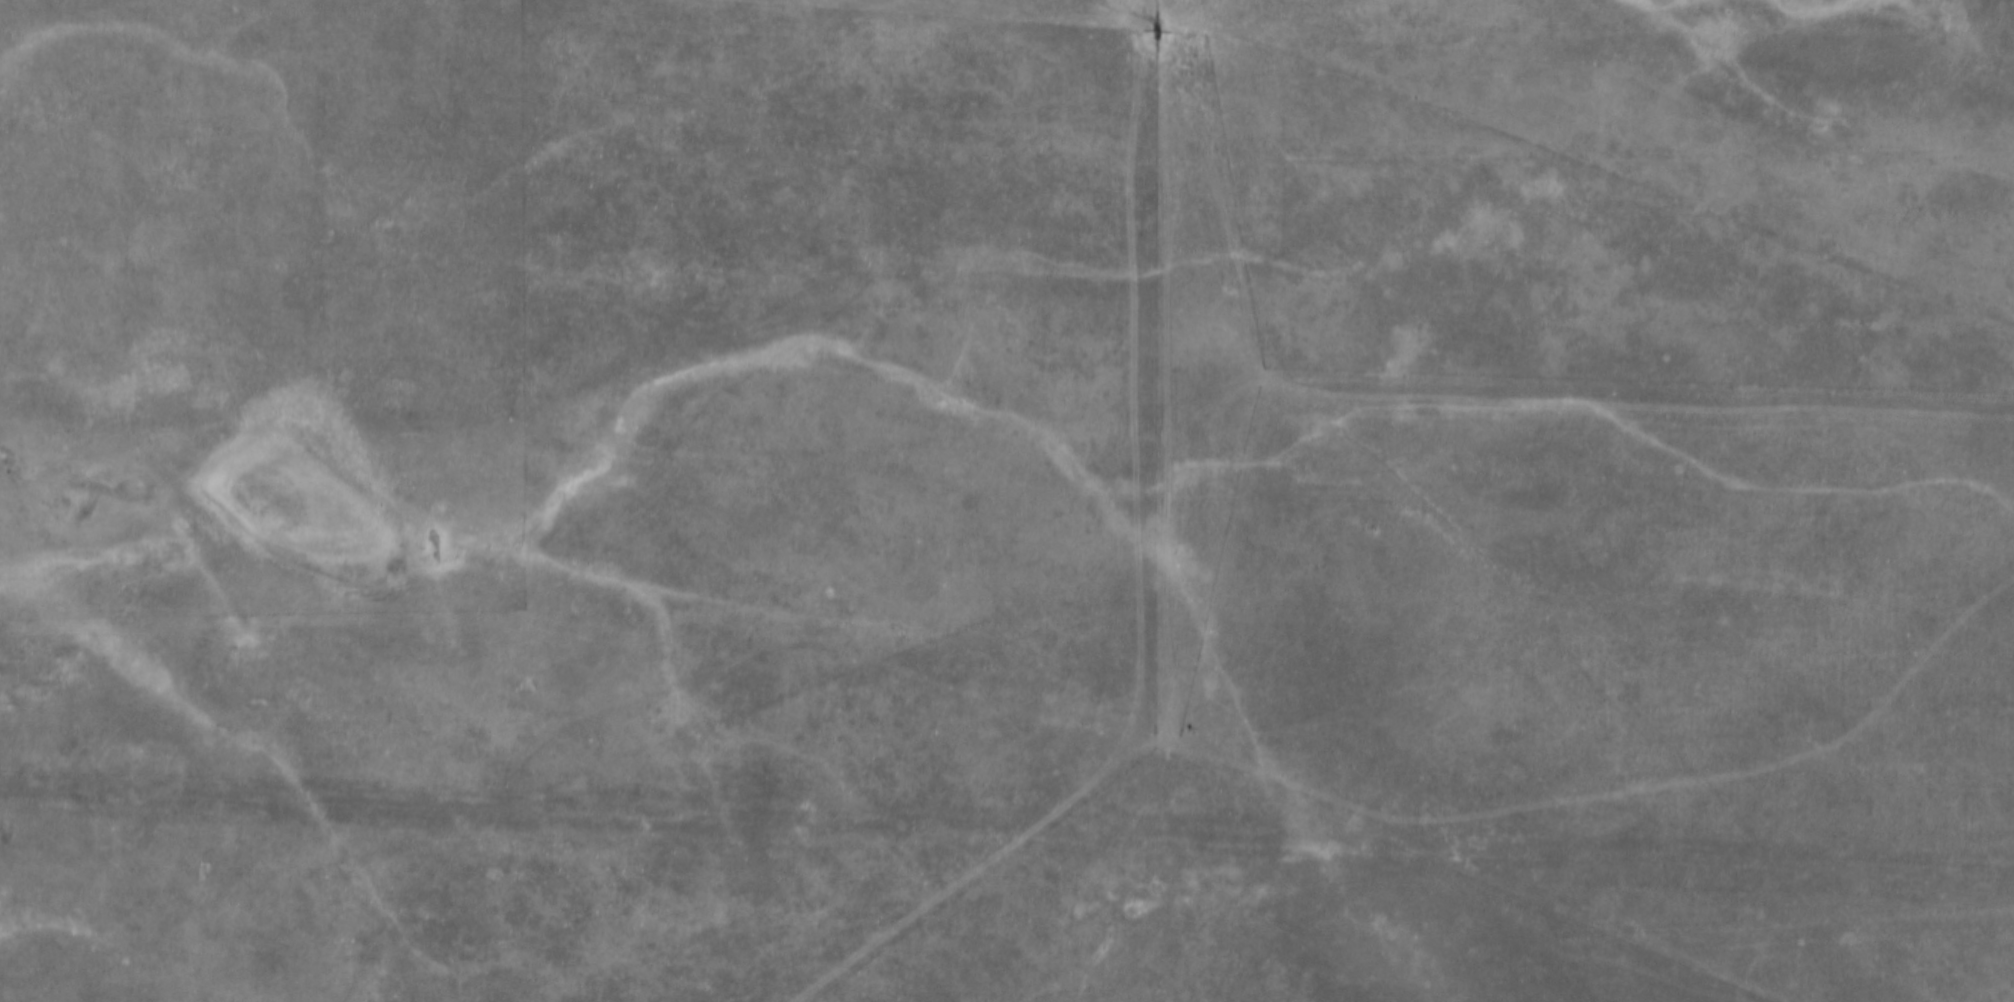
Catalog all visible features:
road: (759, 653)

